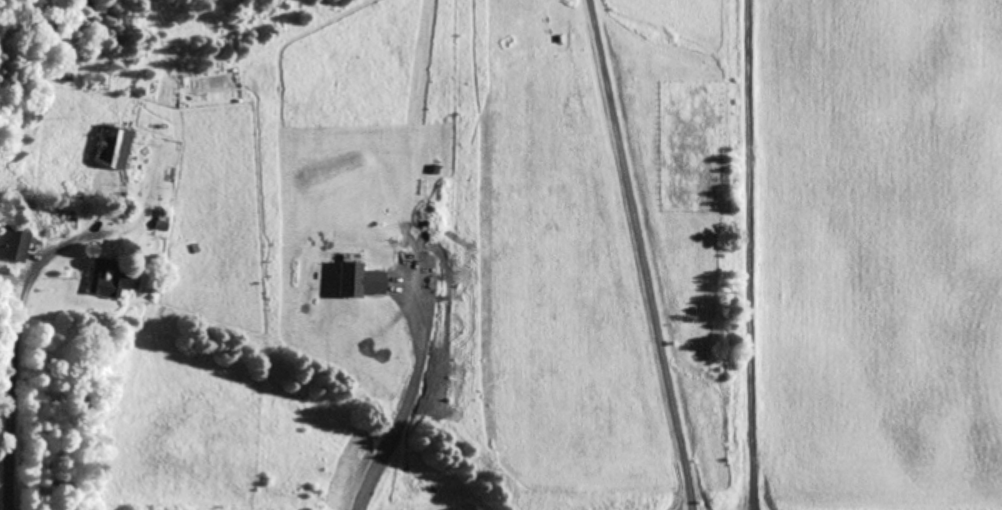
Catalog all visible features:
building: (506, 46)
building: (114, 144)
building: (13, 242)
building: (112, 279)
road: (12, 351)

